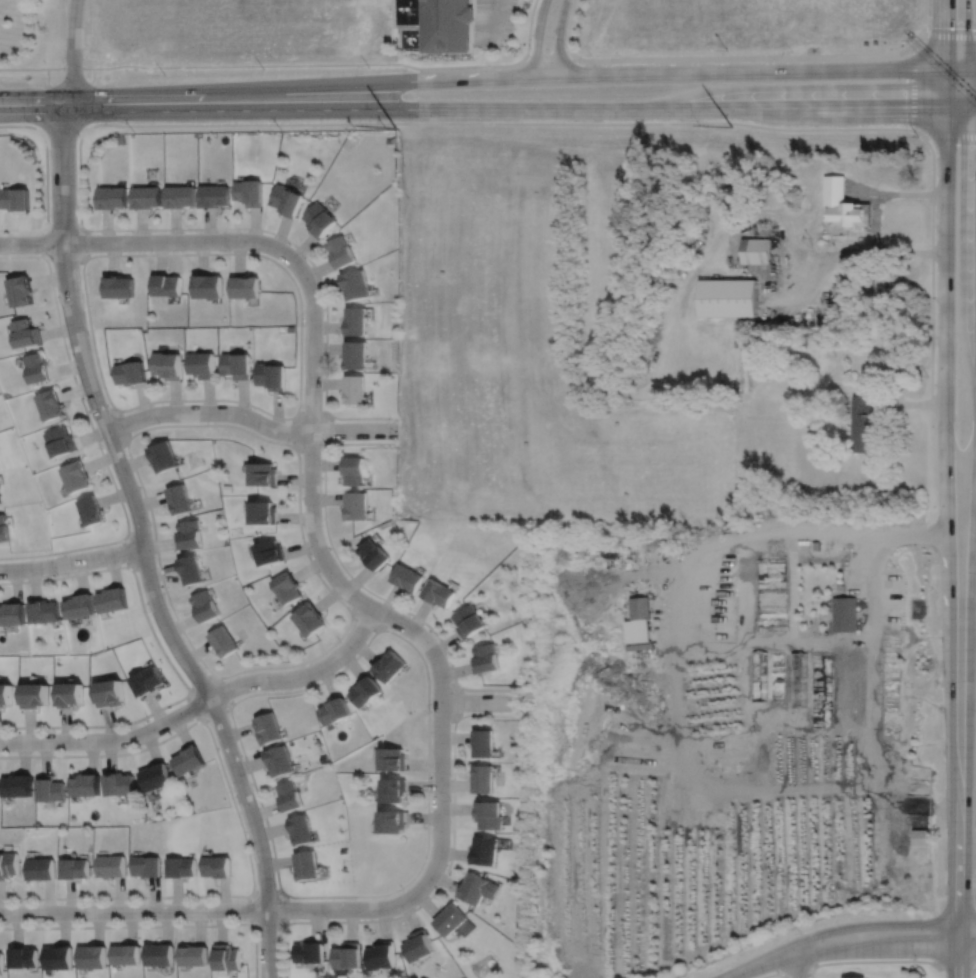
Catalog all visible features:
parking lot: (493, 22)
road: (494, 22)
building: (448, 26)
road: (529, 29)
road: (962, 35)
road: (540, 37)
road: (559, 37)
road: (73, 49)
road: (948, 51)
road: (765, 57)
road: (550, 58)
road: (287, 64)
road: (24, 68)
traffic signals: (948, 69)
road: (524, 76)
road: (36, 99)
traffic signals: (948, 103)
road: (524, 106)
road: (360, 123)
road: (62, 128)
street lamp: (79, 135)
road: (46, 181)
road: (868, 190)
building: (249, 193)
road: (913, 195)
building: (147, 198)
building: (182, 198)
building: (215, 198)
building: (113, 199)
building: (15, 200)
building: (285, 200)
building: (846, 204)
building: (319, 218)
street lamp: (49, 221)
road: (876, 224)
road: (64, 226)
street lamp: (132, 232)
road: (155, 241)
road: (40, 243)
road: (87, 244)
street lamp: (228, 250)
building: (340, 250)
building: (756, 250)
road: (808, 253)
road: (911, 253)
road: (854, 254)
street lamp: (305, 259)
road: (65, 261)
building: (354, 282)
building: (166, 283)
building: (206, 284)
building: (119, 285)
building: (244, 285)
building: (20, 289)
road: (944, 289)
road: (809, 291)
building: (728, 298)
building: (355, 319)
street lamp: (303, 325)
building: (25, 332)
street lamp: (88, 334)
building: (354, 353)
building: (201, 363)
building: (167, 364)
building: (235, 364)
building: (37, 367)
building: (132, 371)
building: (270, 375)
building: (353, 388)
building: (50, 404)
road: (911, 404)
street lamp: (253, 408)
road: (312, 411)
road: (295, 413)
road: (250, 417)
street lamp: (392, 421)
road: (122, 423)
street lamp: (159, 423)
building: (863, 423)
road: (293, 430)
road: (330, 430)
road: (95, 437)
building: (60, 441)
street lamp: (324, 443)
street lamp: (103, 447)
road: (311, 449)
building: (164, 455)
road: (969, 457)
building: (354, 470)
building: (262, 473)
building: (76, 476)
building: (0, 498)
building: (177, 498)
building: (356, 505)
building: (91, 510)
building: (262, 512)
street lamp: (150, 524)
building: (4, 528)
building: (188, 534)
road: (143, 545)
road: (880, 551)
road: (126, 552)
building: (269, 552)
building: (373, 553)
street lamp: (310, 555)
road: (72, 561)
building: (190, 569)
street lamp: (56, 574)
building: (407, 577)
road: (358, 583)
building: (286, 587)
road: (349, 592)
building: (438, 592)
building: (112, 600)
building: (79, 606)
building: (204, 606)
building: (640, 608)
building: (44, 611)
street lamp: (150, 611)
building: (11, 614)
building: (845, 614)
street lamp: (409, 616)
building: (309, 620)
road: (365, 620)
building: (469, 621)
building: (772, 624)
building: (637, 630)
building: (826, 638)
street lamp: (340, 641)
building: (223, 642)
road: (333, 643)
road: (775, 643)
building: (485, 658)
road: (169, 661)
building: (389, 666)
street lamp: (205, 672)
building: (759, 676)
building: (799, 680)
building: (148, 682)
road: (201, 682)
road: (225, 689)
street lamp: (272, 689)
building: (822, 690)
building: (365, 691)
street lamp: (521, 692)
building: (111, 694)
building: (71, 695)
building: (6, 696)
building: (35, 696)
road: (483, 701)
road: (457, 702)
road: (200, 703)
road: (193, 707)
road: (960, 708)
building: (334, 711)
street lamp: (431, 712)
road: (216, 713)
street lamp: (149, 720)
road: (681, 724)
building: (268, 728)
street lamp: (54, 731)
building: (483, 743)
building: (188, 760)
building: (279, 760)
building: (393, 760)
building: (745, 773)
building: (156, 778)
building: (483, 779)
building: (120, 785)
building: (85, 786)
building: (17, 787)
building: (49, 789)
street lamp: (233, 791)
building: (394, 791)
building: (289, 796)
street lamp: (449, 798)
building: (488, 814)
building: (392, 822)
road: (241, 824)
road: (427, 825)
building: (300, 830)
building: (920, 837)
building: (485, 849)
building: (9, 863)
building: (307, 863)
building: (113, 864)
building: (148, 864)
building: (182, 865)
building: (217, 865)
building: (76, 866)
building: (42, 867)
road: (442, 878)
street lamp: (275, 885)
building: (478, 887)
road: (265, 889)
street lamp: (403, 889)
street lamp: (94, 901)
road: (248, 908)
road: (218, 909)
road: (286, 909)
street lamp: (327, 918)
building: (451, 918)
street lamp: (210, 920)
street lamp: (5, 922)
road: (880, 922)
road: (152, 925)
road: (267, 926)
building: (418, 945)
road: (884, 947)
building: (310, 951)
building: (126, 953)
building: (160, 953)
building: (192, 954)
building: (346, 954)
building: (381, 954)
building: (92, 955)
building: (23, 956)
building: (58, 956)
building: (226, 956)
road: (860, 960)
building: (1, 961)
road: (956, 961)
road: (957, 962)
road: (758, 963)
road: (796, 964)
road: (774, 972)
road: (810, 972)
road: (974, 975)
building: (855, 976)

